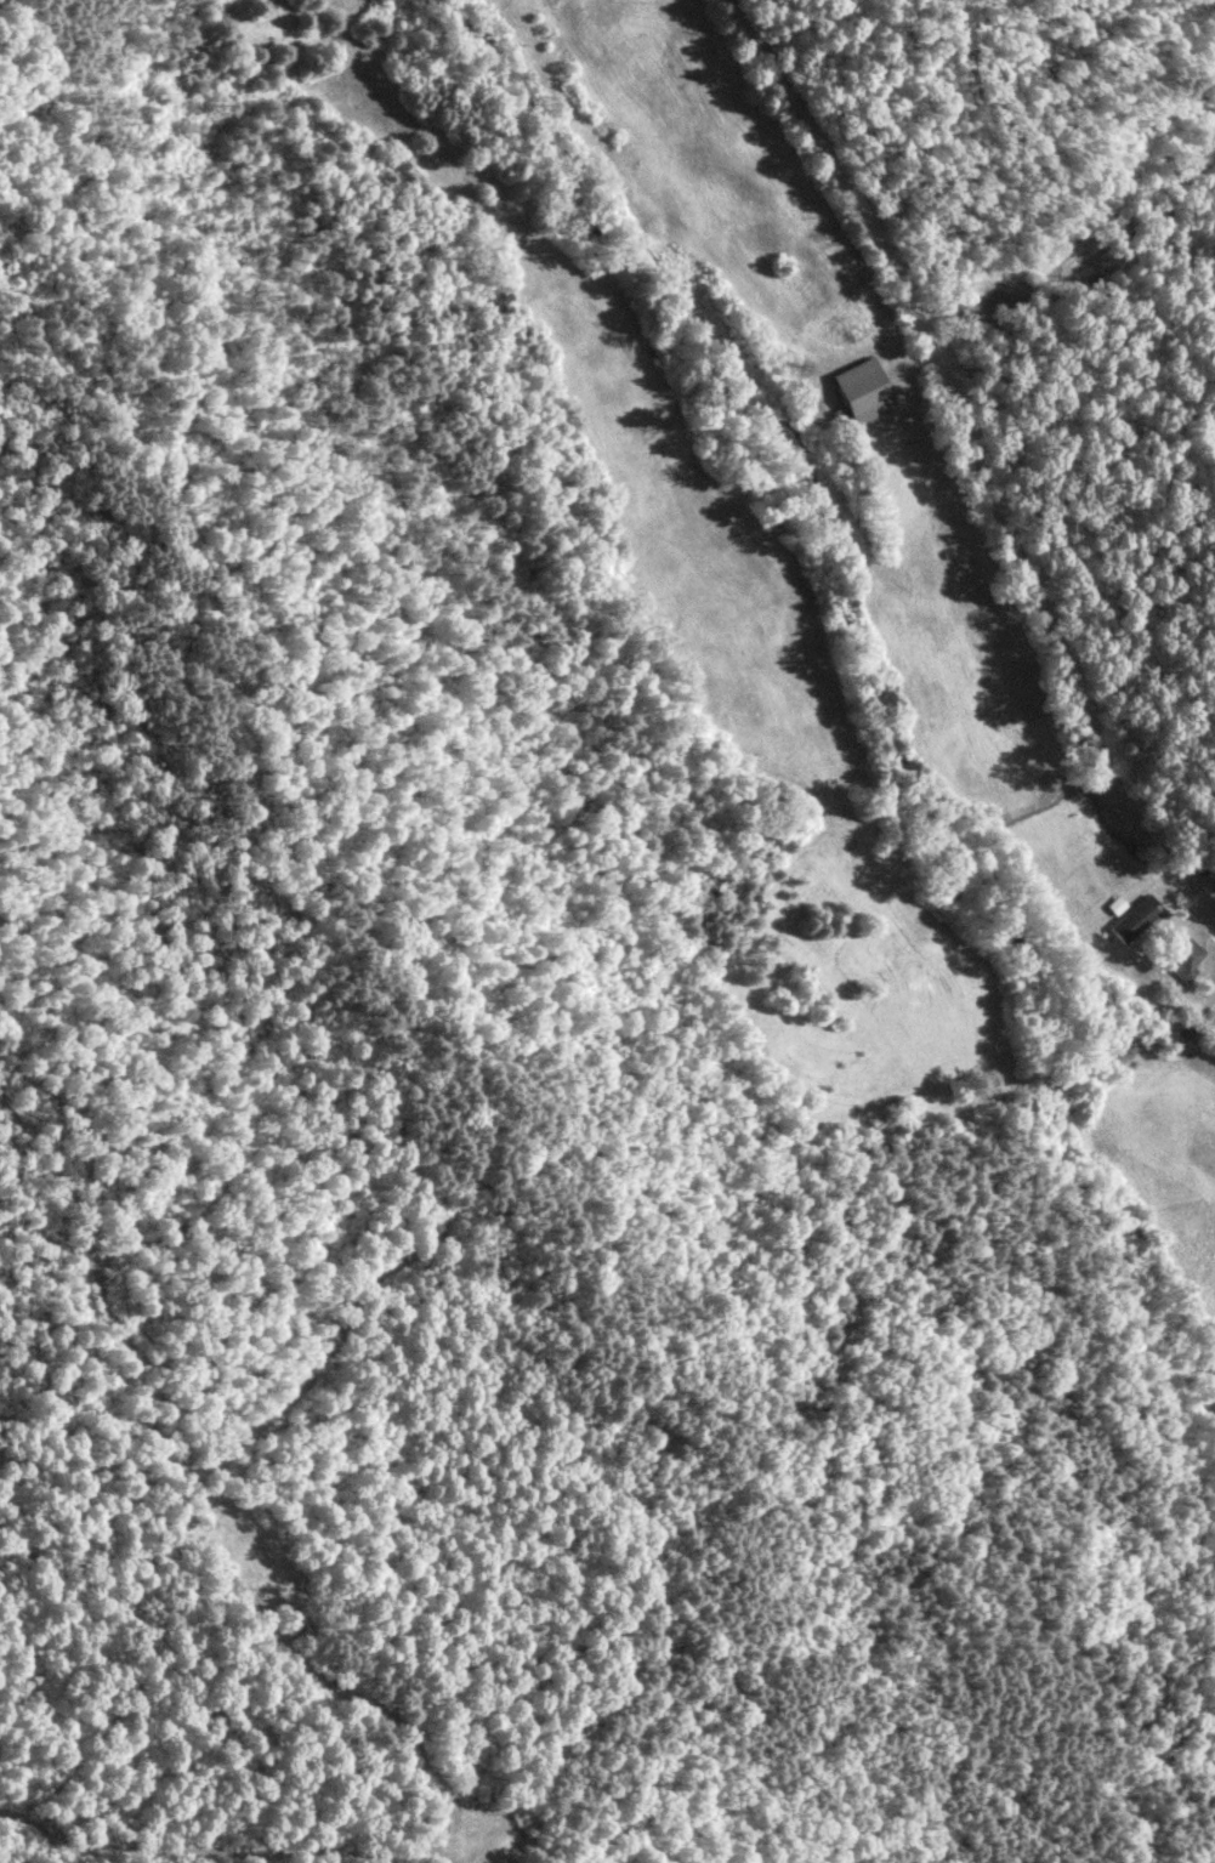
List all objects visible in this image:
road: (1074, 256)
building: (874, 391)
road: (977, 447)
road: (1092, 481)

